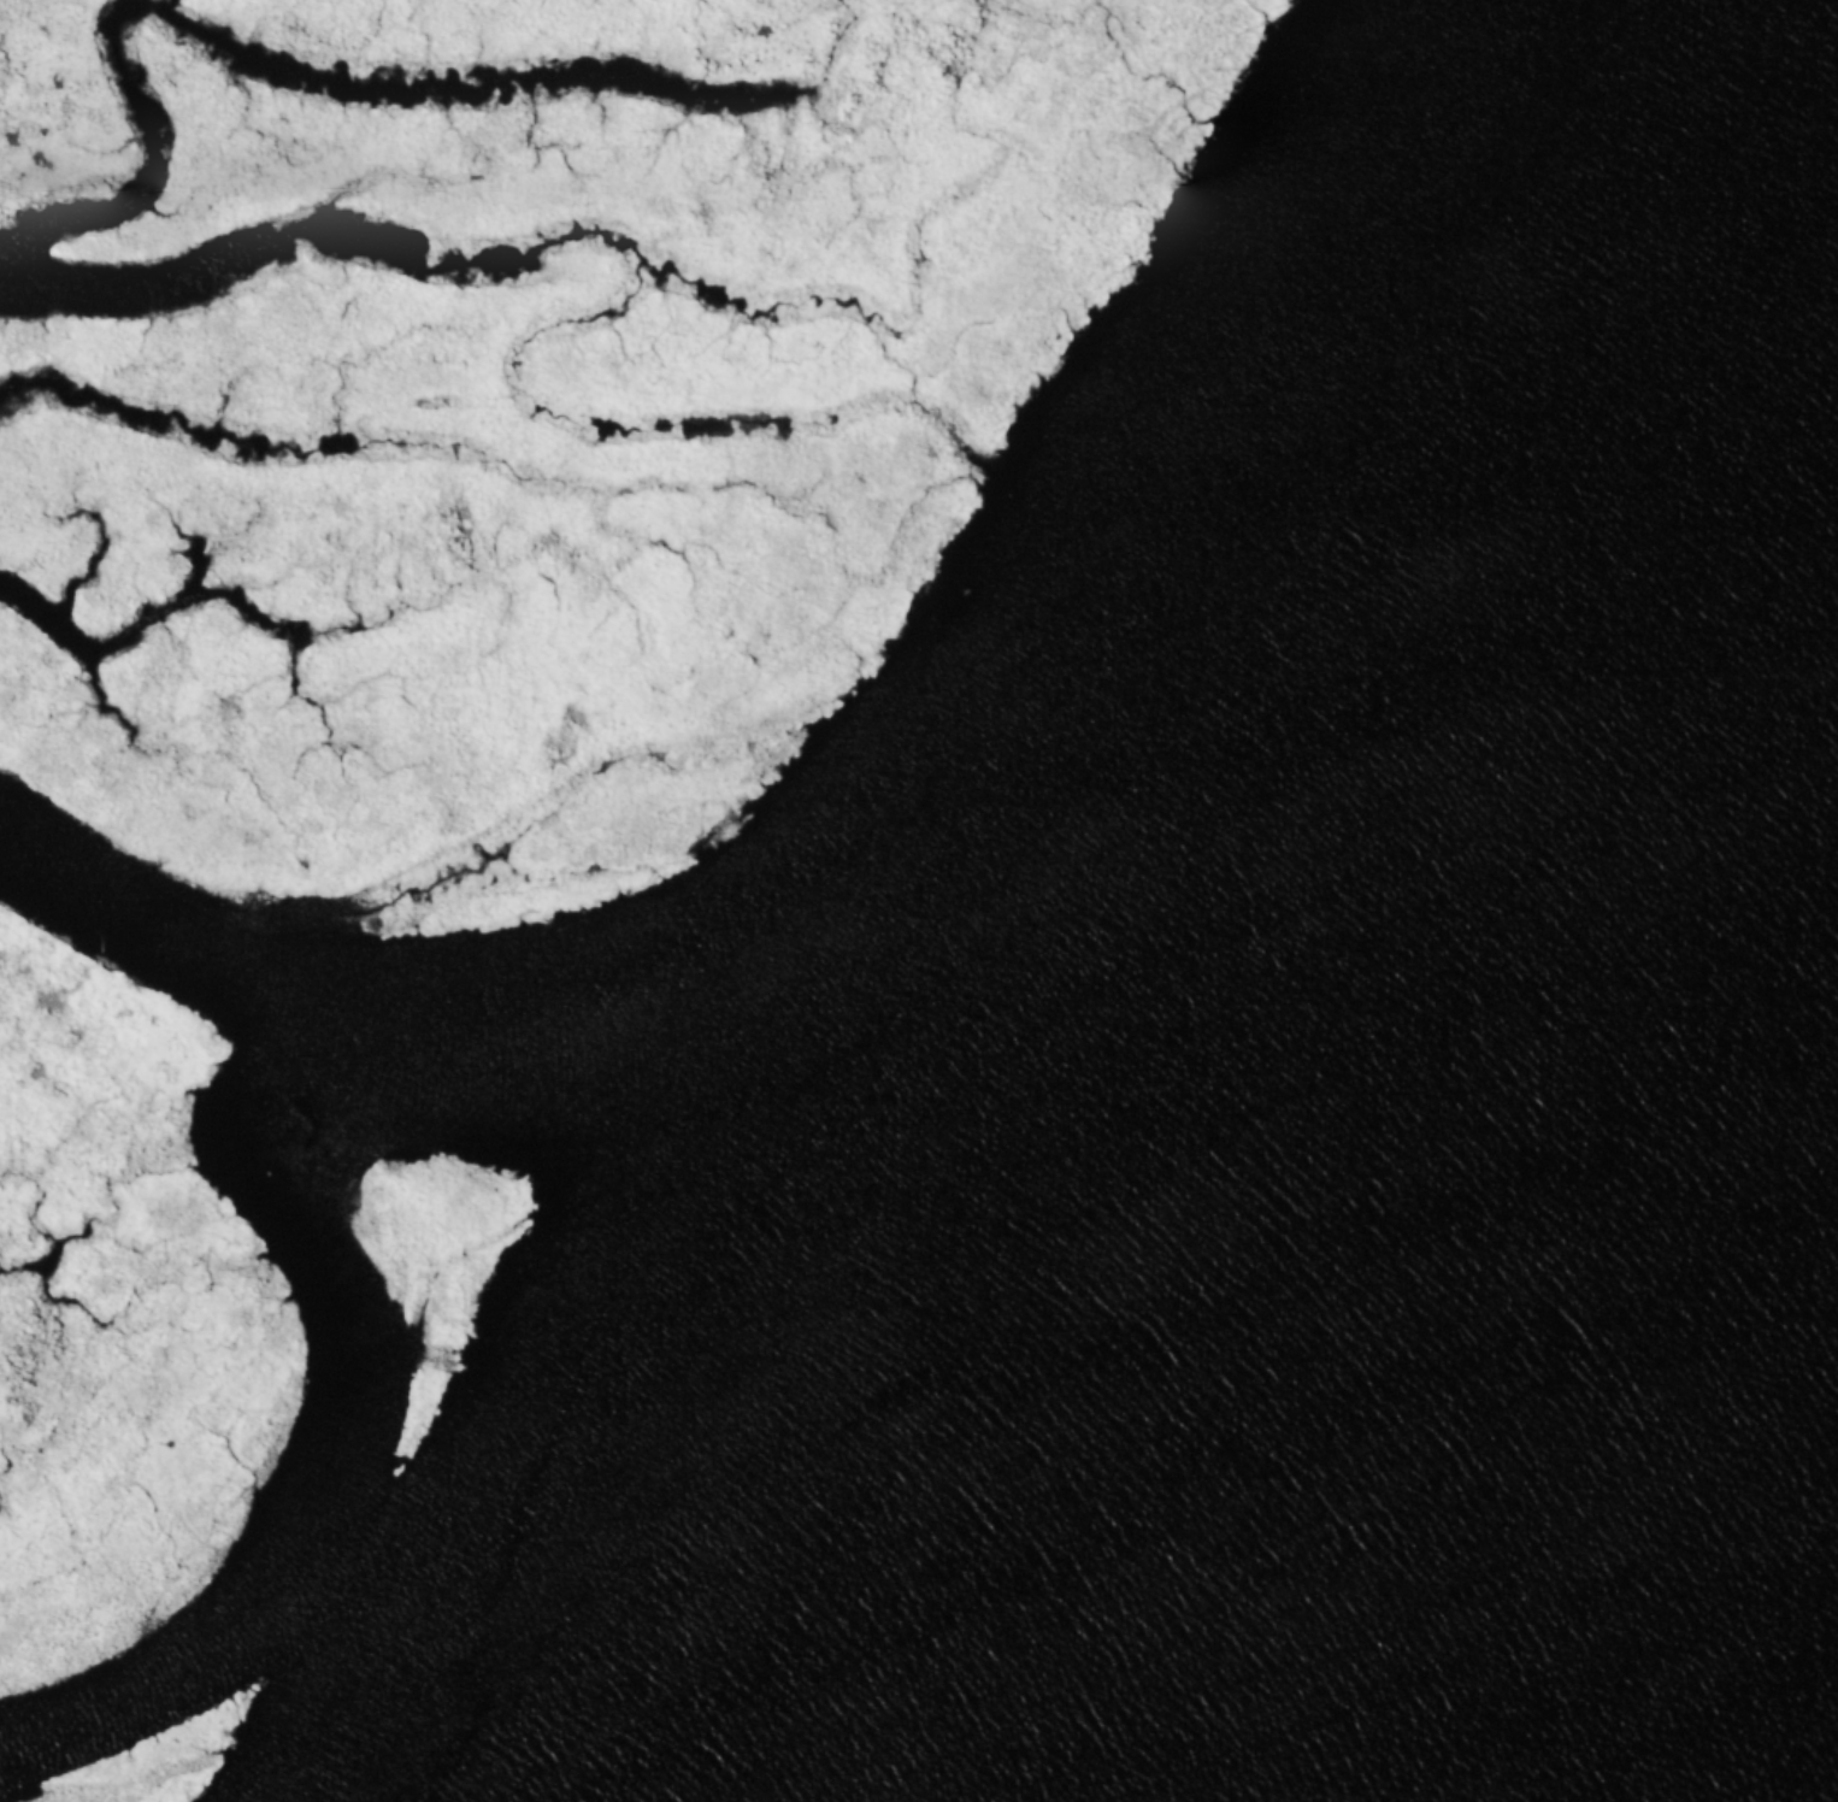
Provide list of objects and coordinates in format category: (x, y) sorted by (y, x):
river: (1727, 1629)

